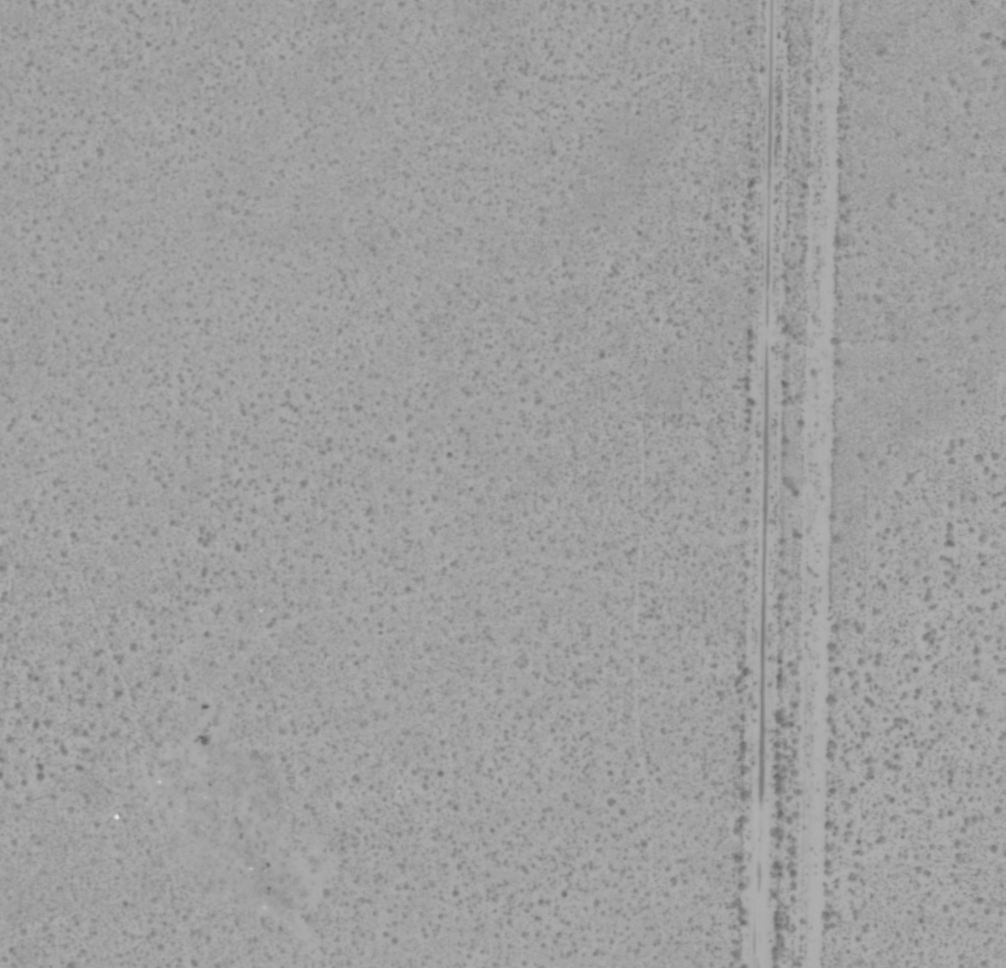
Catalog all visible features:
road: (767, 484)
airport: (935, 488)

